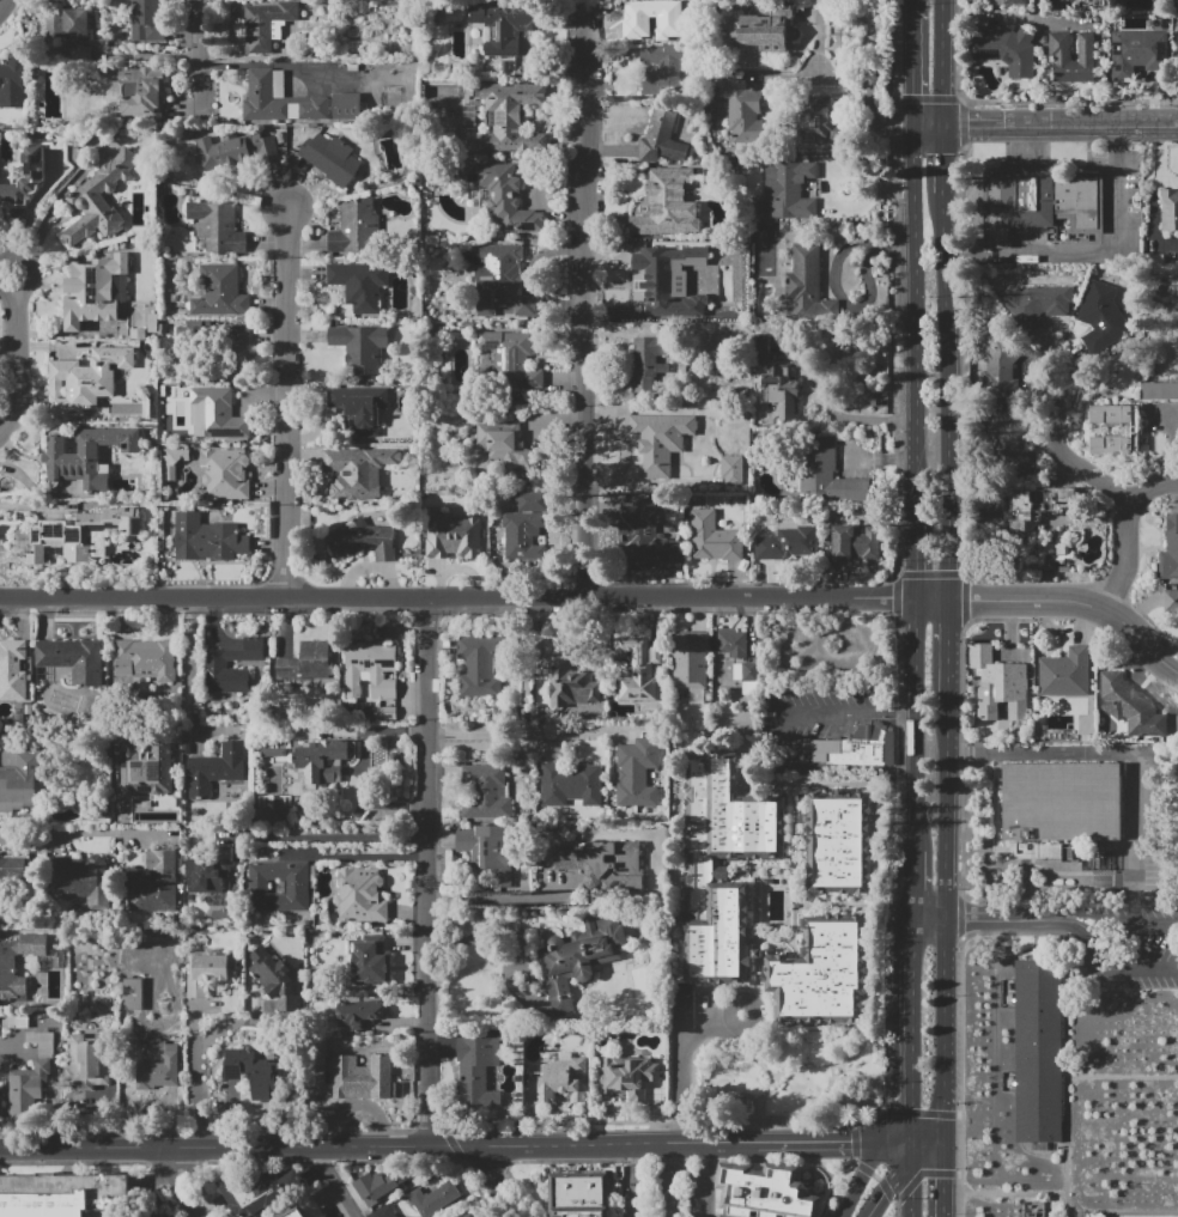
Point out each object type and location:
building: (1015, 2)
road: (4, 5)
road: (913, 6)
road: (1037, 10)
building: (656, 12)
road: (1033, 18)
building: (147, 22)
building: (68, 23)
building: (267, 24)
building: (506, 25)
building: (761, 30)
building: (1006, 49)
building: (1177, 49)
building: (1136, 51)
road: (200, 55)
building: (1070, 57)
road: (943, 61)
road: (915, 66)
building: (662, 68)
building: (12, 83)
building: (141, 92)
road: (870, 93)
traffic signals: (913, 93)
building: (293, 101)
road: (1065, 102)
building: (742, 110)
building: (512, 115)
building: (820, 120)
traffic signals: (886, 121)
road: (929, 121)
traffic signals: (967, 122)
road: (997, 122)
road: (1115, 122)
building: (661, 138)
building: (237, 151)
traffic signals: (945, 153)
road: (945, 157)
building: (332, 158)
building: (25, 177)
building: (787, 191)
building: (498, 195)
building: (101, 199)
building: (1039, 200)
building: (668, 205)
building: (1170, 211)
building: (218, 226)
building: (356, 230)
road: (518, 241)
road: (1123, 248)
building: (1161, 268)
road: (30, 272)
road: (524, 275)
building: (649, 280)
building: (502, 281)
building: (360, 284)
building: (808, 285)
building: (95, 291)
building: (220, 292)
building: (1037, 304)
road: (588, 308)
road: (915, 310)
building: (1100, 316)
building: (1177, 337)
building: (235, 342)
building: (360, 346)
building: (760, 348)
building: (512, 357)
road: (14, 361)
building: (648, 361)
building: (998, 367)
building: (86, 379)
building: (1159, 390)
building: (779, 391)
road: (948, 396)
road: (285, 402)
building: (359, 407)
building: (215, 414)
building: (1135, 428)
building: (1008, 439)
building: (661, 442)
building: (505, 445)
building: (86, 458)
building: (174, 461)
building: (731, 470)
building: (357, 471)
building: (225, 473)
building: (828, 473)
road: (1085, 473)
building: (1034, 504)
building: (526, 525)
building: (640, 534)
building: (74, 535)
building: (453, 535)
building: (207, 538)
building: (712, 538)
building: (364, 540)
building: (855, 542)
building: (788, 543)
road: (915, 548)
building: (1170, 550)
building: (1055, 555)
road: (1127, 559)
road: (476, 598)
road: (1077, 602)
building: (1172, 602)
building: (733, 643)
road: (954, 651)
building: (72, 658)
building: (146, 659)
building: (691, 663)
building: (217, 665)
building: (480, 665)
building: (308, 667)
building: (12, 670)
building: (370, 670)
building: (640, 671)
building: (746, 671)
road: (194, 674)
building: (1065, 674)
building: (1000, 679)
building: (570, 684)
building: (1130, 706)
road: (906, 711)
building: (384, 713)
road: (916, 725)
road: (59, 735)
road: (510, 738)
building: (854, 747)
road: (785, 748)
building: (273, 753)
road: (1128, 754)
building: (324, 761)
building: (147, 769)
building: (215, 769)
building: (634, 777)
building: (22, 784)
building: (571, 784)
building: (486, 793)
building: (1064, 802)
building: (274, 807)
road: (952, 811)
road: (84, 838)
road: (326, 838)
building: (839, 841)
building: (487, 854)
road: (354, 856)
building: (602, 863)
building: (723, 864)
building: (208, 871)
road: (427, 871)
building: (81, 880)
building: (10, 882)
building: (153, 884)
building: (278, 886)
road: (917, 886)
building: (360, 896)
road: (502, 899)
road: (1093, 913)
road: (960, 915)
road: (934, 920)
road: (980, 920)
road: (1062, 924)
road: (485, 932)
road: (917, 933)
road: (1091, 935)
road: (1013, 936)
parking lot: (1138, 948)
building: (578, 957)
building: (365, 960)
building: (7, 966)
road: (1135, 969)
building: (210, 972)
building: (821, 973)
building: (274, 978)
building: (133, 994)
building: (359, 1012)
building: (14, 1021)
road: (752, 1024)
road: (951, 1030)
building: (41, 1041)
road: (915, 1045)
building: (1038, 1047)
building: (89, 1060)
building: (317, 1061)
building: (157, 1064)
road: (195, 1064)
road: (685, 1069)
building: (476, 1070)
building: (263, 1075)
road: (1065, 1075)
building: (630, 1076)
road: (959, 1076)
building: (363, 1078)
park: (787, 1078)
road: (1122, 1078)
building: (557, 1082)
building: (28, 1089)
traffic signals: (913, 1108)
road: (919, 1112)
road: (869, 1121)
road: (834, 1143)
traffic signals: (852, 1143)
road: (931, 1143)
road: (378, 1145)
road: (672, 1151)
road: (708, 1151)
road: (636, 1152)
road: (931, 1154)
road: (867, 1168)
traffic signals: (949, 1178)
road: (949, 1179)
road: (336, 1180)
road: (497, 1180)
road: (912, 1180)
road: (178, 1181)
building: (379, 1187)
parking lot: (669, 1187)
road: (670, 1188)
road: (708, 1188)
road: (886, 1188)
road: (636, 1189)
building: (767, 1192)
building: (251, 1193)
traffic signals: (884, 1193)
road: (1012, 1193)
building: (61, 1194)
building: (581, 1194)
road: (889, 1195)
building: (435, 1199)
road: (893, 1210)
building: (382, 1212)
road: (1122, 1212)
building: (151, 1213)
building: (299, 1213)
building: (474, 1216)

